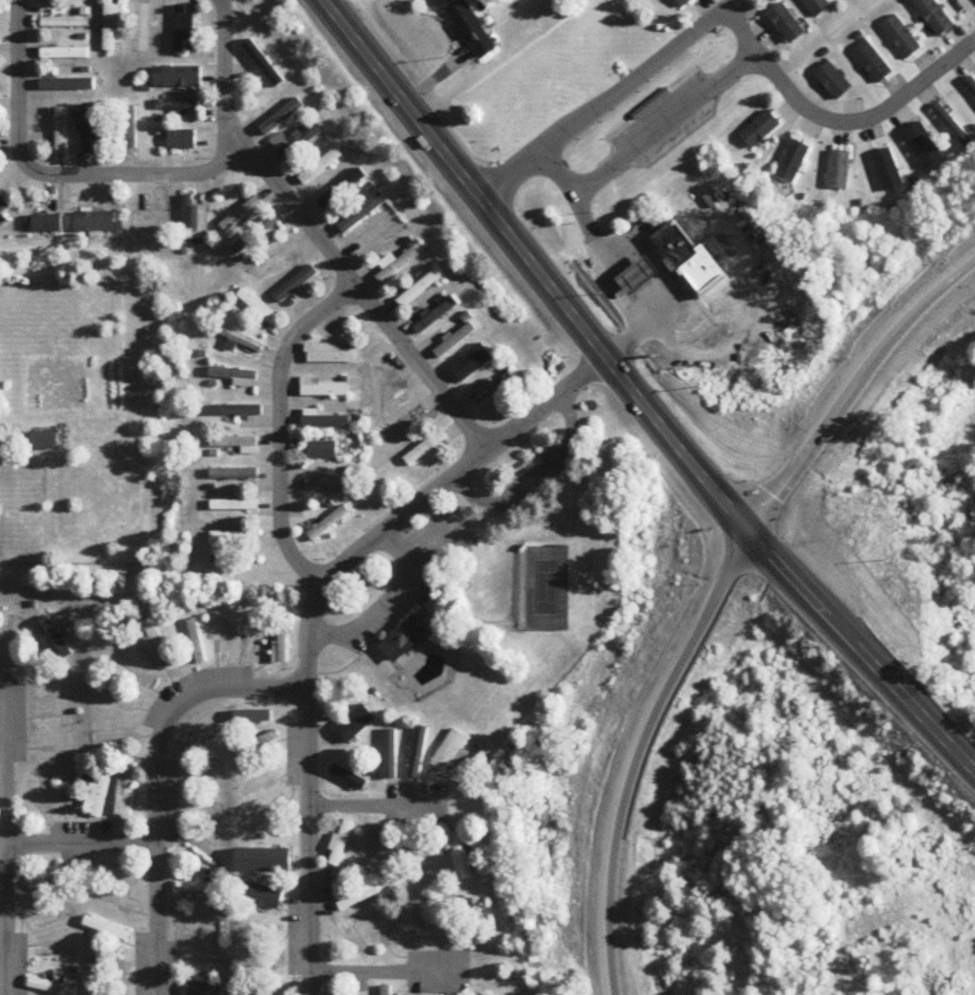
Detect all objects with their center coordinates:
building: (855, 0)
building: (683, 3)
road: (221, 5)
building: (968, 6)
building: (934, 17)
building: (65, 23)
building: (111, 25)
building: (788, 25)
building: (144, 28)
building: (183, 29)
building: (472, 30)
building: (902, 38)
building: (64, 54)
building: (874, 63)
building: (177, 78)
road: (228, 80)
building: (834, 82)
building: (67, 85)
building: (971, 86)
road: (19, 95)
road: (607, 98)
building: (179, 108)
road: (665, 116)
road: (837, 122)
building: (954, 127)
building: (132, 128)
building: (61, 130)
building: (93, 130)
building: (761, 130)
building: (181, 141)
building: (299, 141)
building: (794, 162)
building: (320, 166)
building: (841, 171)
road: (144, 176)
building: (2, 205)
building: (362, 214)
building: (241, 215)
building: (193, 222)
building: (95, 223)
building: (46, 224)
building: (151, 224)
building: (254, 236)
building: (676, 244)
road: (605, 261)
building: (398, 264)
road: (533, 267)
building: (643, 278)
building: (297, 285)
building: (418, 290)
road: (364, 296)
building: (258, 308)
road: (743, 316)
building: (436, 317)
building: (242, 340)
building: (456, 341)
building: (328, 355)
building: (236, 377)
road: (853, 389)
building: (323, 390)
building: (493, 392)
building: (237, 411)
road: (282, 427)
building: (45, 441)
building: (239, 444)
building: (428, 448)
building: (322, 450)
road: (529, 472)
building: (234, 474)
building: (327, 486)
building: (235, 505)
building: (329, 524)
building: (235, 539)
road: (401, 552)
road: (406, 580)
park: (546, 589)
park: (504, 595)
road: (314, 609)
building: (51, 640)
building: (404, 640)
building: (282, 641)
building: (196, 642)
building: (159, 650)
road: (862, 652)
building: (257, 744)
building: (451, 752)
road: (638, 753)
building: (352, 776)
road: (157, 782)
building: (99, 793)
building: (125, 801)
road: (378, 806)
building: (267, 813)
road: (5, 834)
building: (341, 843)
road: (81, 845)
building: (373, 847)
building: (462, 855)
building: (43, 884)
building: (197, 888)
building: (263, 897)
building: (358, 899)
building: (478, 922)
building: (417, 925)
building: (106, 929)
building: (260, 931)
building: (261, 965)
road: (388, 973)
building: (51, 987)
building: (201, 989)
building: (386, 990)

